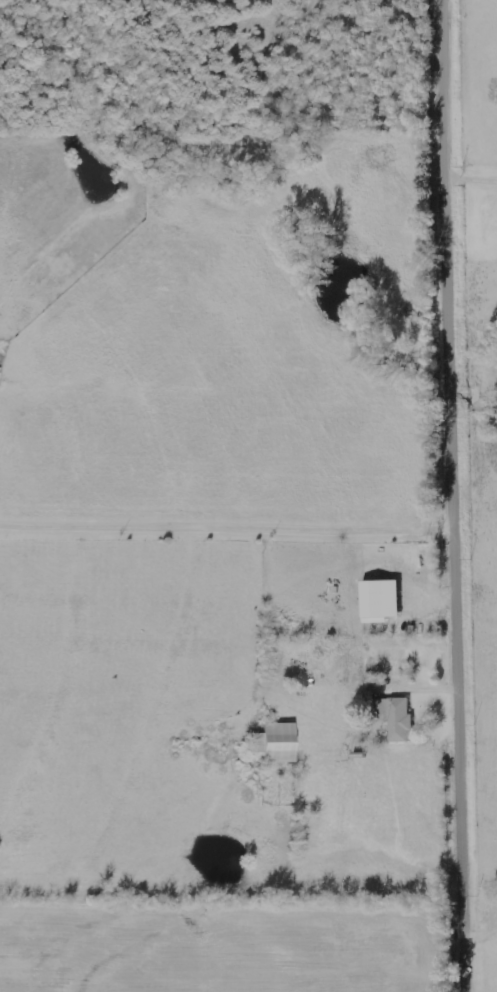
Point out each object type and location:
road: (463, 495)
road: (231, 527)
building: (379, 599)
building: (395, 717)
building: (273, 743)

